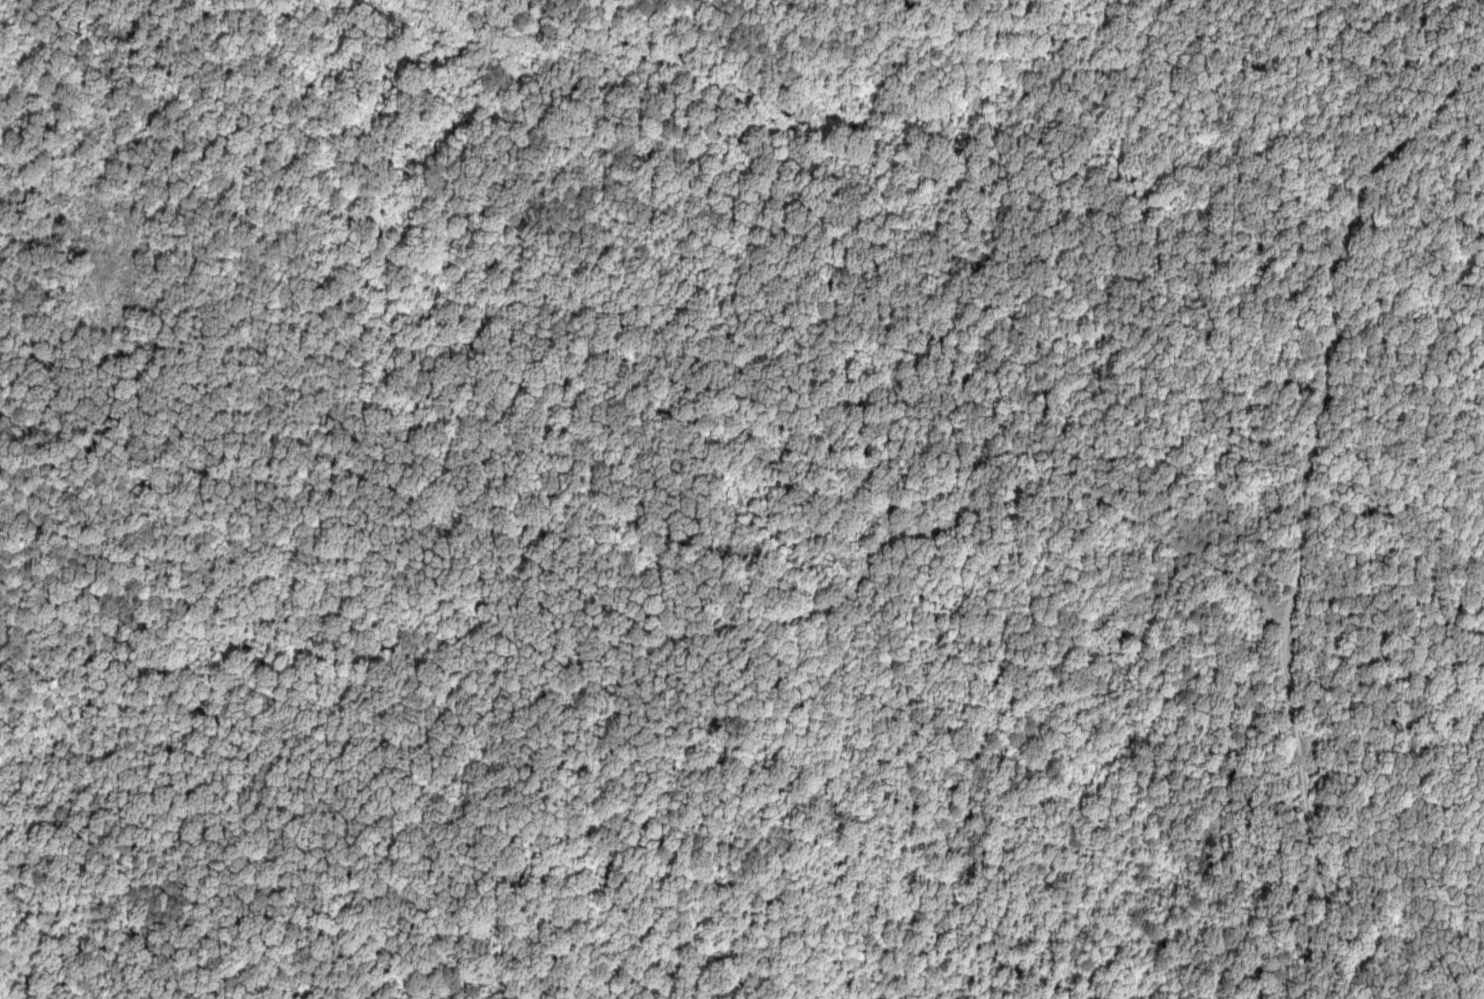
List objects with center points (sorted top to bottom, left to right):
road: (1309, 507)

